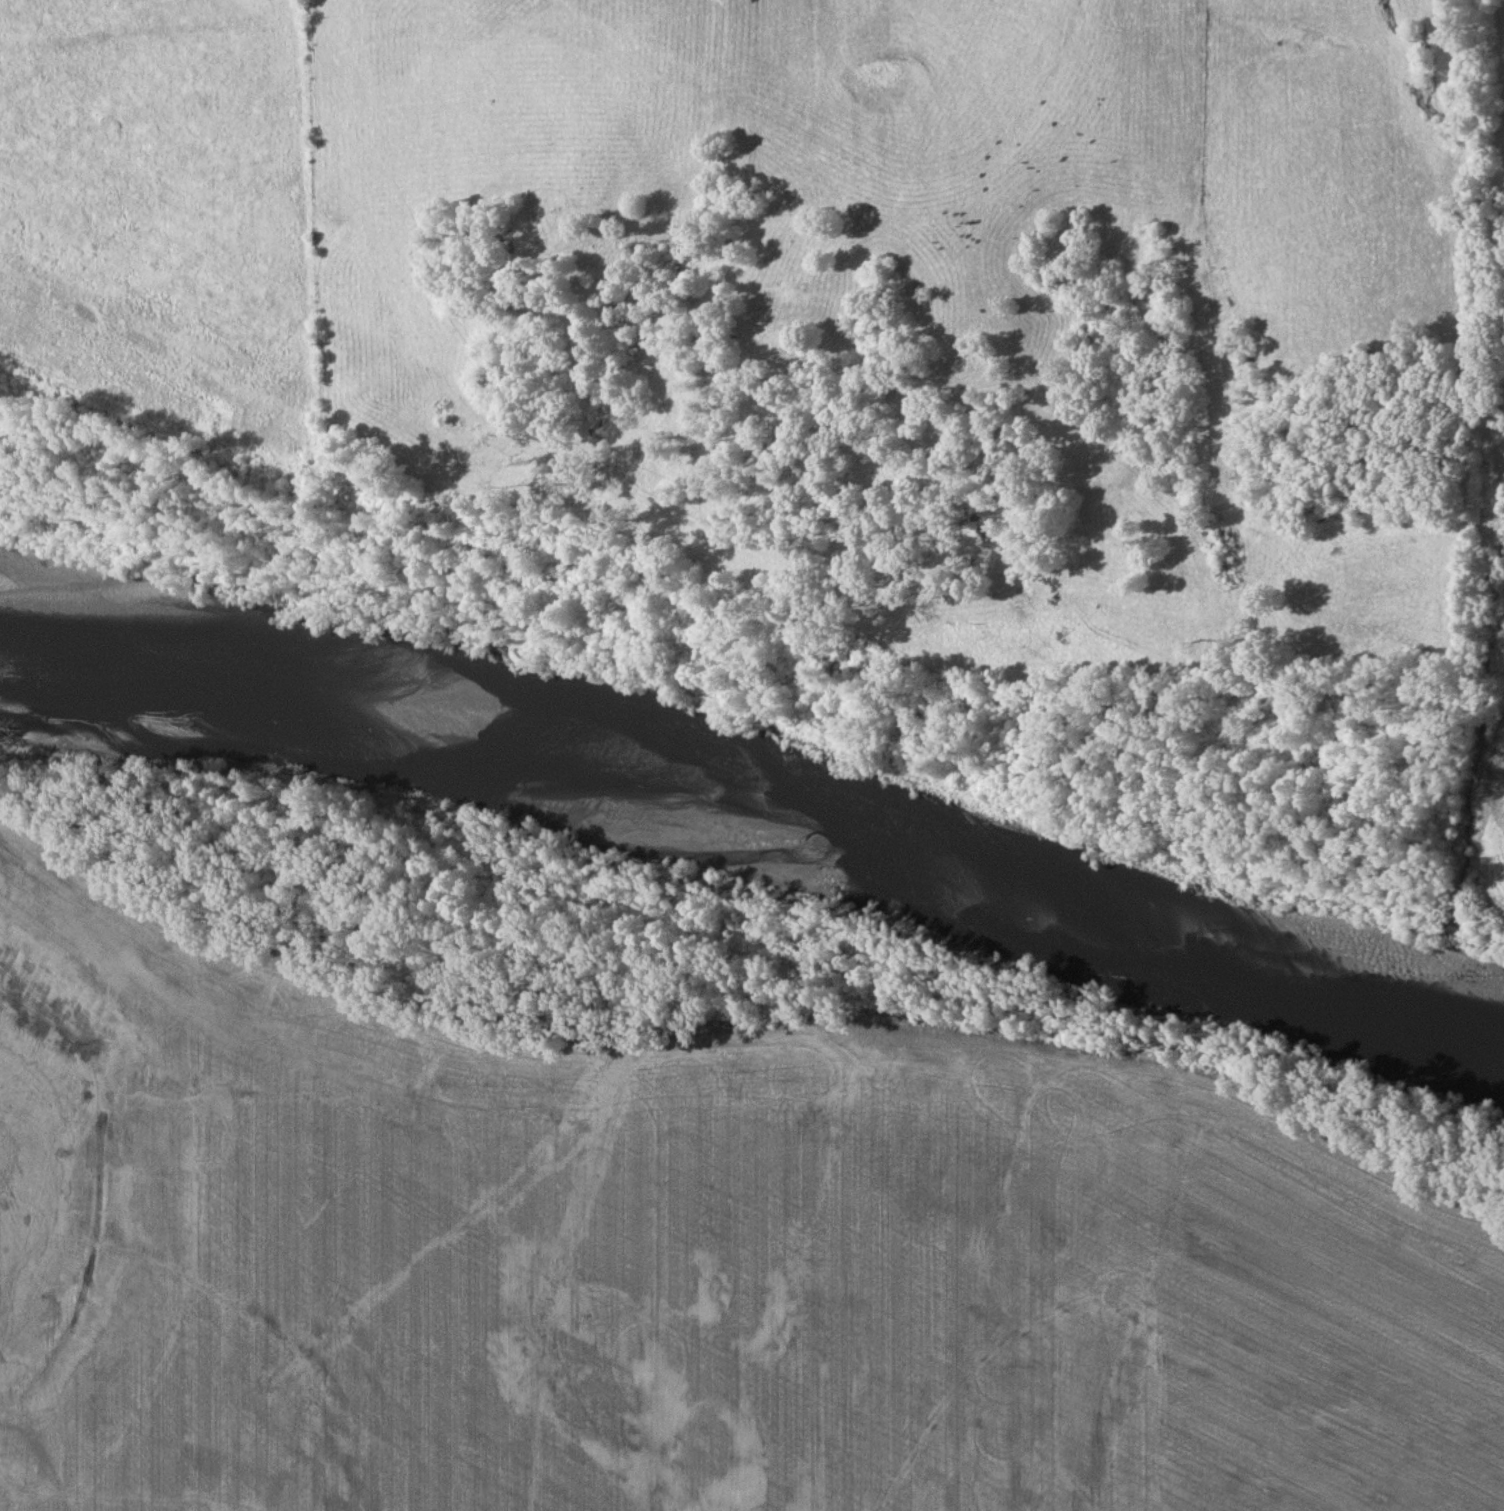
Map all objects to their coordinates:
river: (755, 836)
park: (673, 1197)
crop: (676, 1262)

